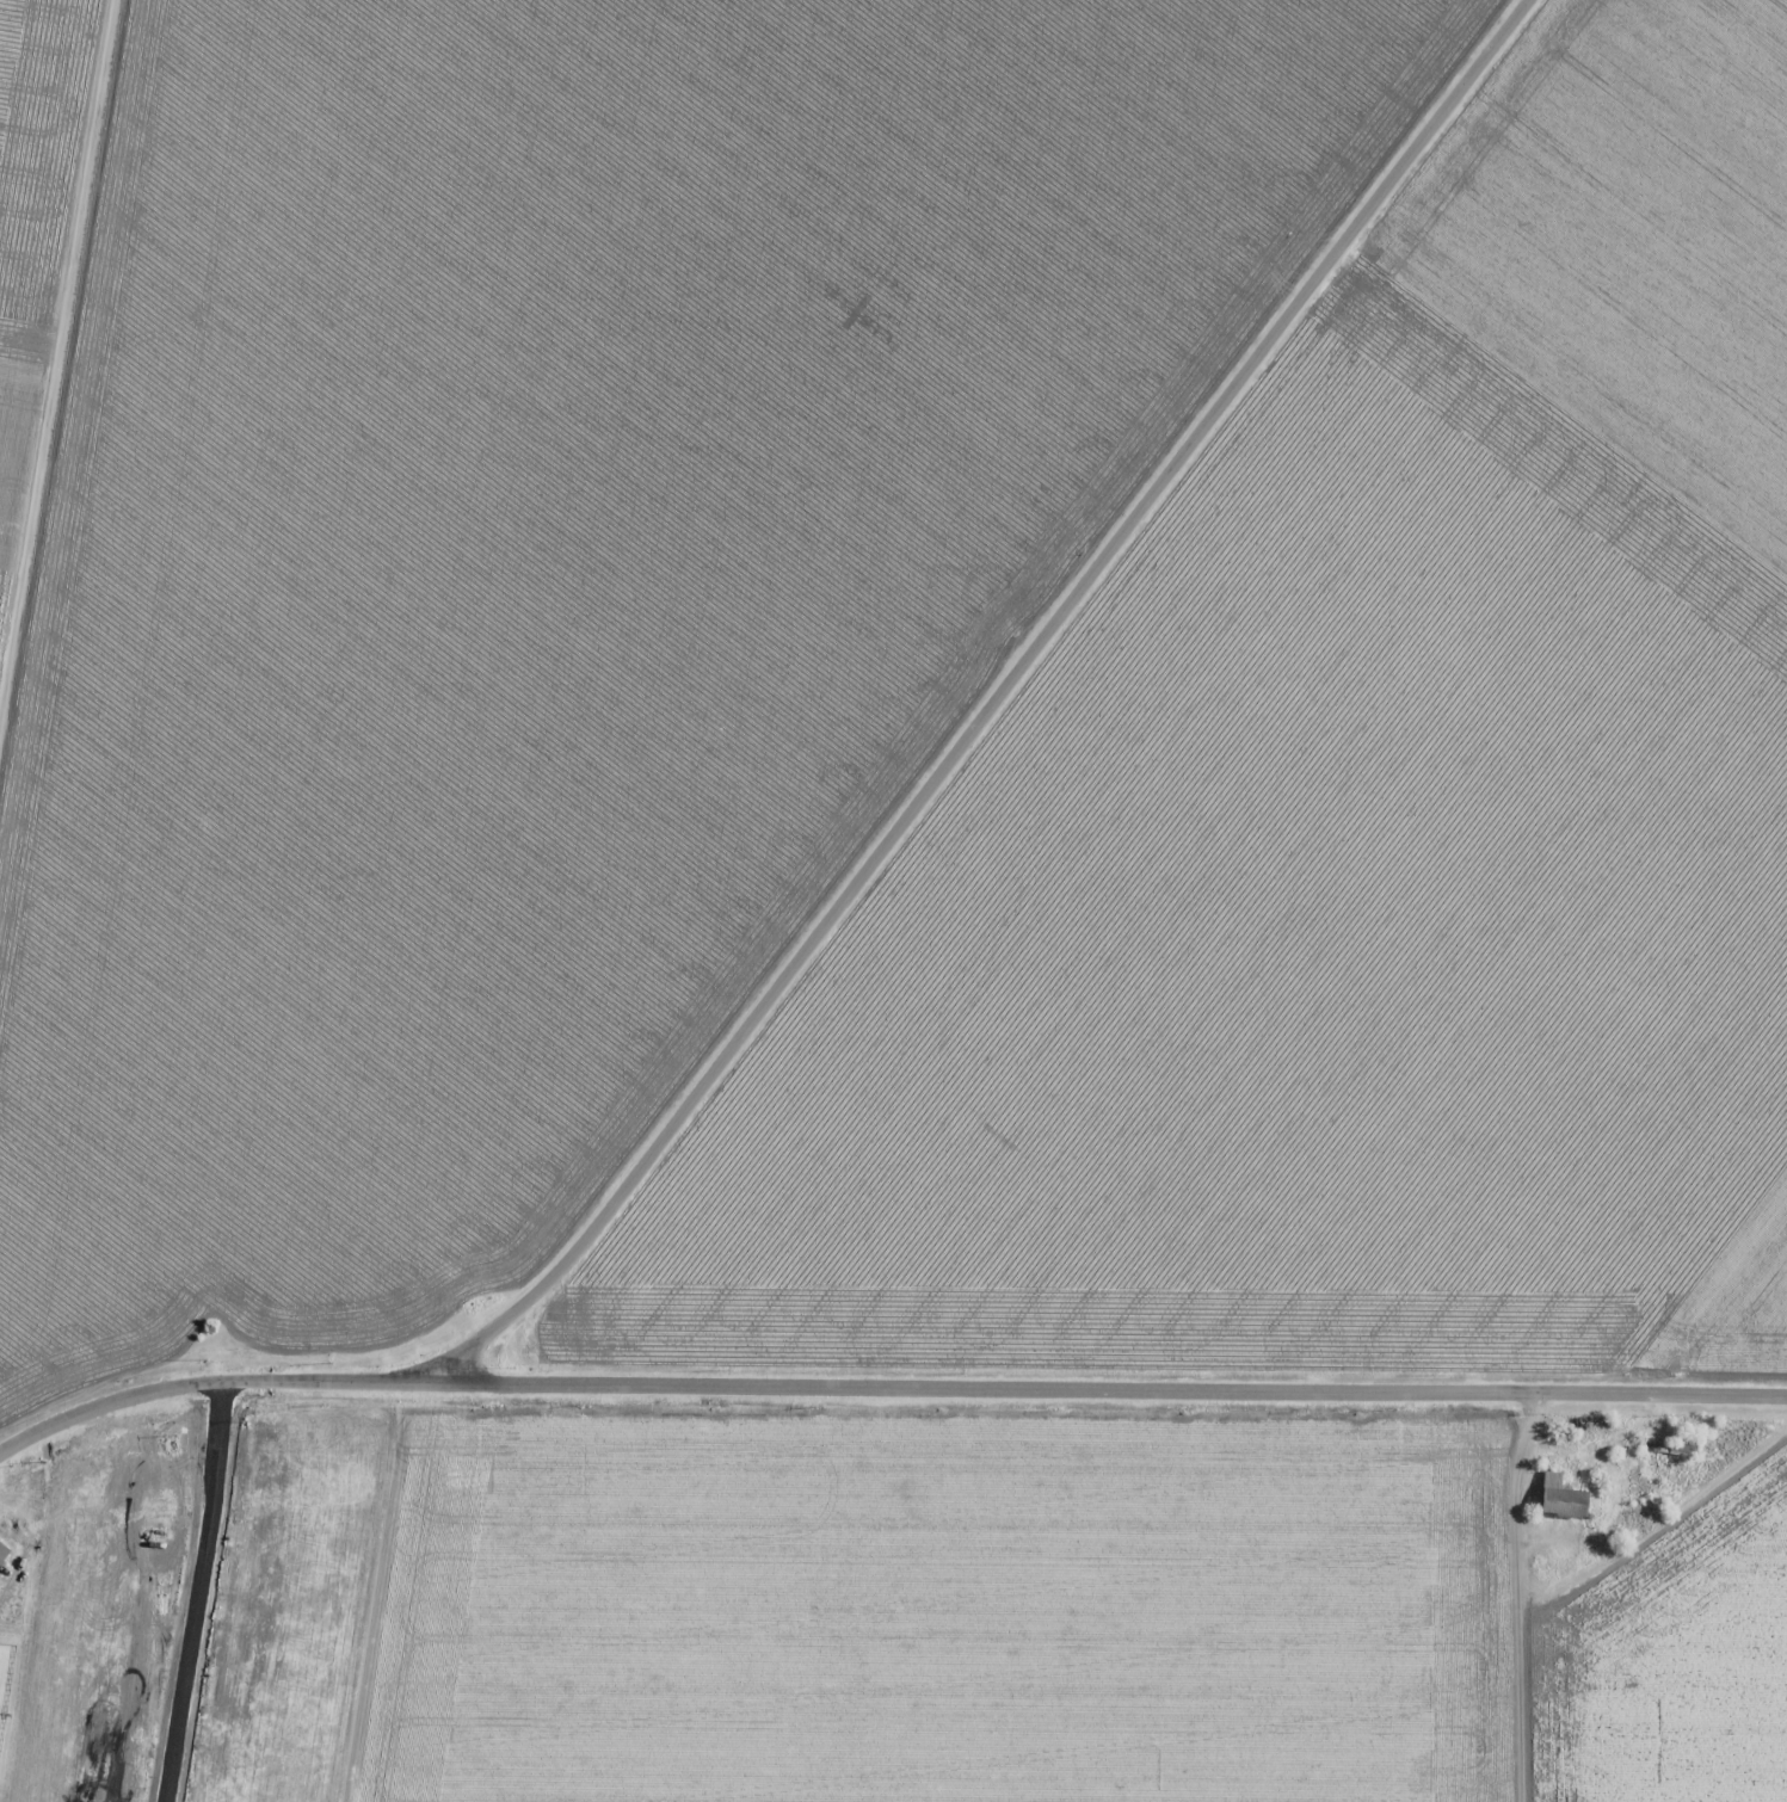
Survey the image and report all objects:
road: (1654, 75)
road: (1766, 136)
road: (53, 342)
crop: (554, 568)
road: (1010, 708)
crop: (1347, 853)
road: (886, 1393)
building: (1681, 1443)
building: (1567, 1505)
crop: (873, 1619)

